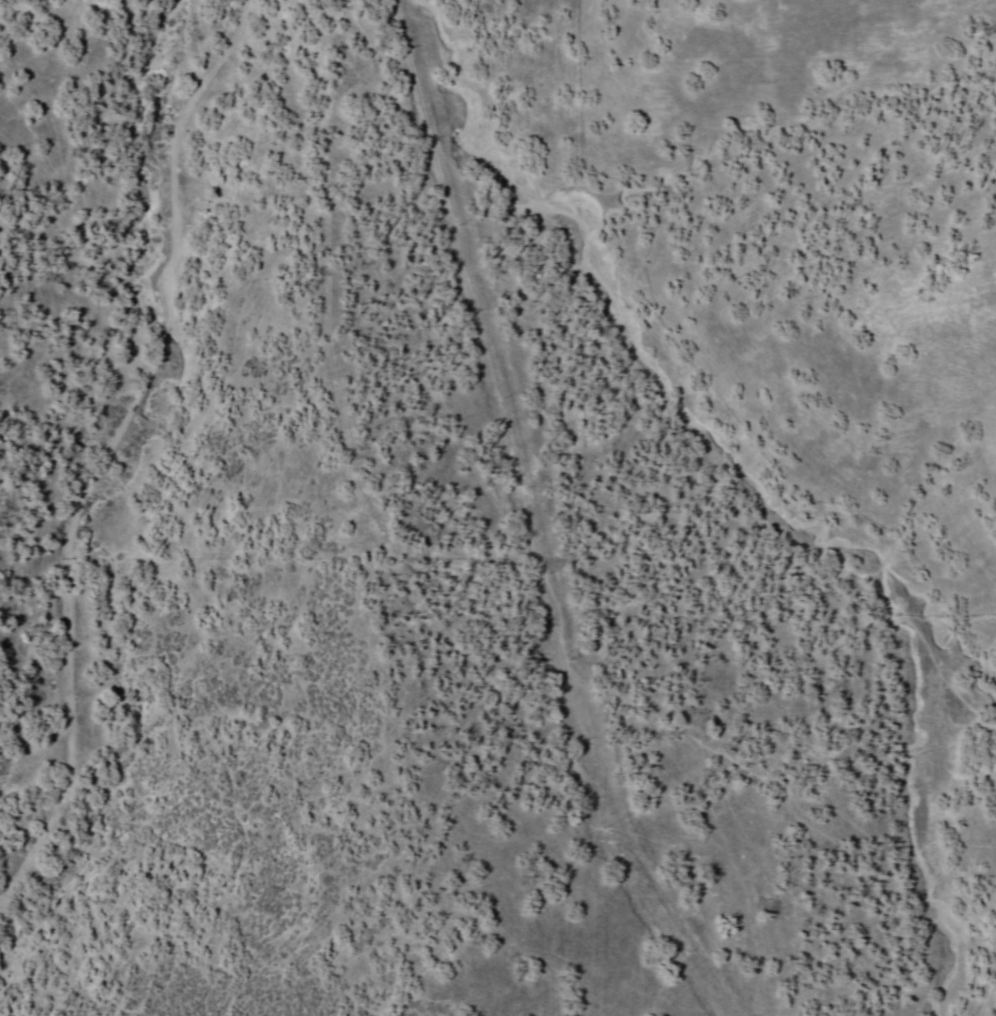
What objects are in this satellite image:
road: (118, 439)

